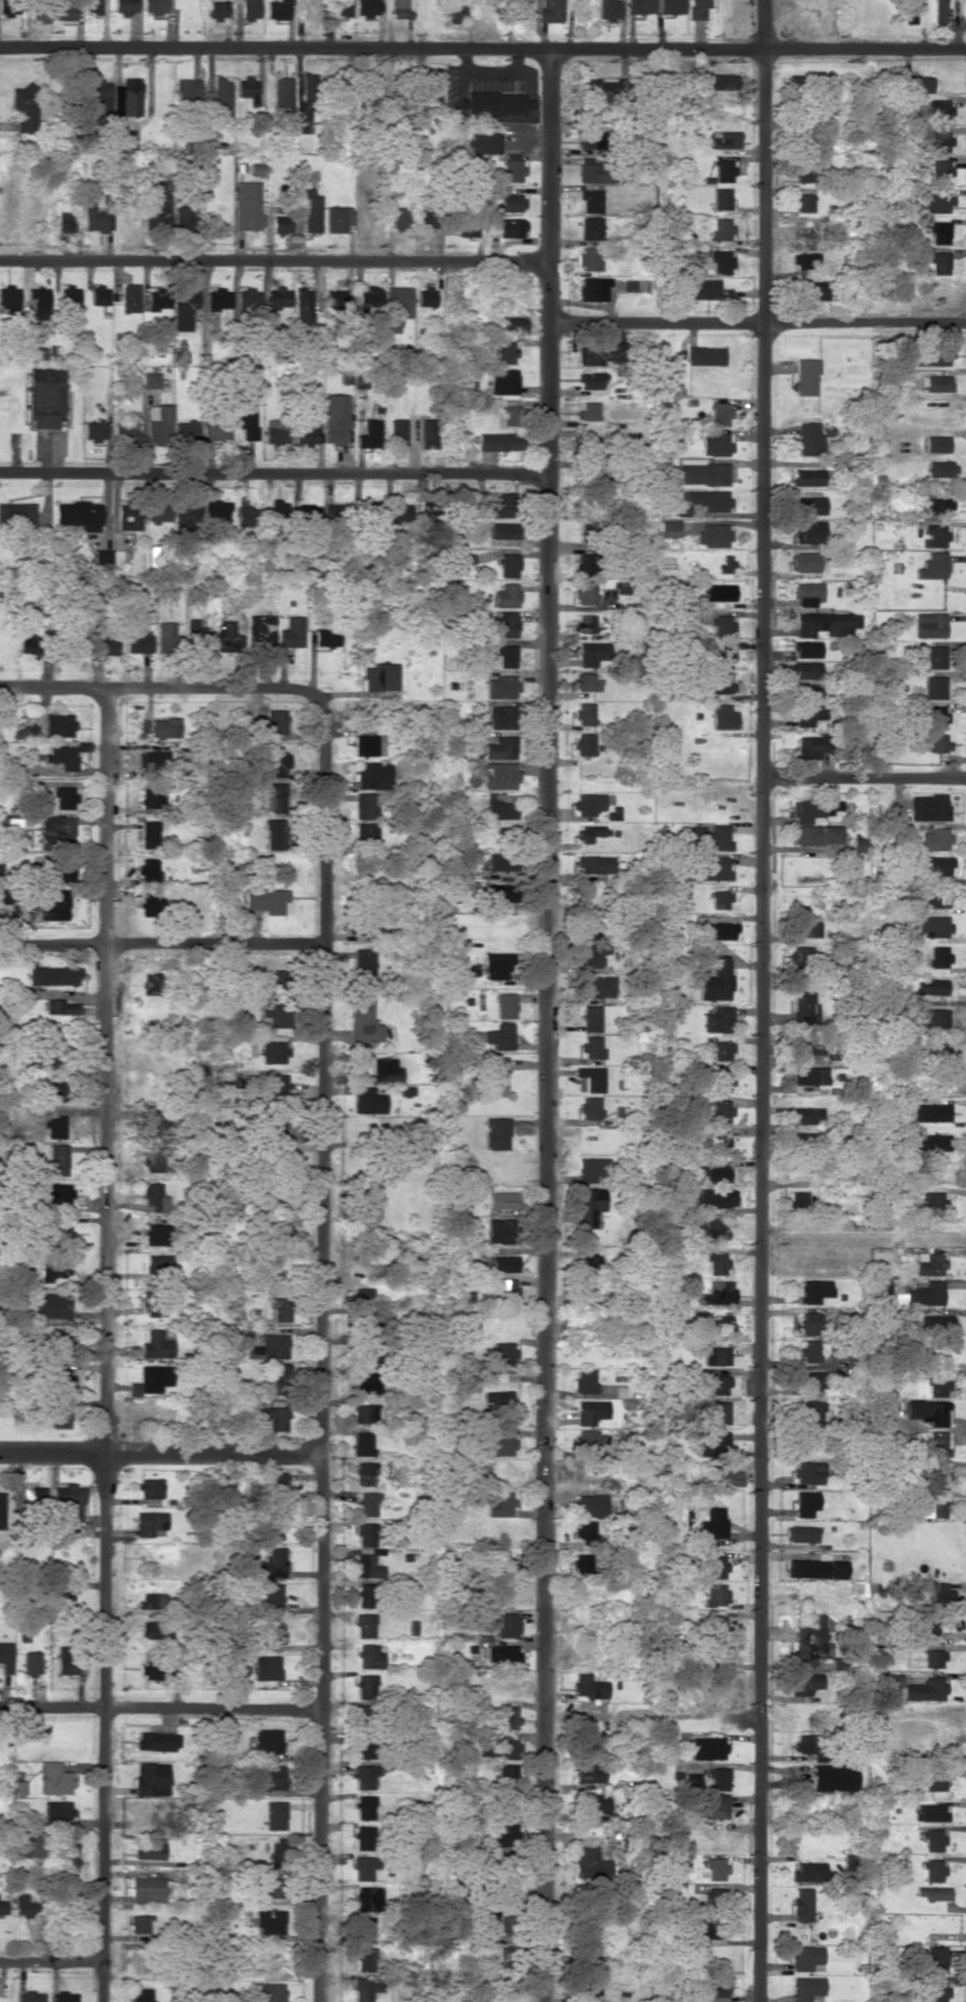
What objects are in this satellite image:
building: (92, 6)
building: (125, 6)
building: (155, 6)
building: (639, 6)
building: (671, 6)
building: (342, 7)
building: (366, 7)
building: (7, 8)
building: (398, 8)
building: (699, 8)
building: (250, 9)
building: (277, 9)
building: (608, 9)
building: (215, 10)
building: (64, 11)
building: (455, 11)
building: (550, 11)
building: (911, 11)
building: (940, 11)
road: (483, 51)
building: (716, 81)
building: (920, 83)
building: (430, 86)
building: (308, 87)
building: (245, 88)
building: (186, 89)
building: (281, 93)
building: (397, 94)
building: (804, 94)
building: (126, 96)
building: (218, 98)
building: (494, 103)
building: (23, 108)
building: (939, 110)
building: (587, 138)
building: (724, 139)
building: (478, 141)
building: (937, 141)
road: (549, 158)
road: (765, 162)
building: (511, 168)
building: (803, 169)
building: (723, 170)
building: (941, 171)
building: (593, 173)
building: (721, 199)
building: (590, 200)
building: (156, 201)
building: (509, 202)
building: (803, 202)
building: (937, 203)
building: (247, 206)
building: (309, 208)
building: (95, 216)
building: (183, 218)
building: (338, 218)
building: (397, 218)
building: (424, 218)
building: (65, 221)
building: (280, 224)
building: (466, 227)
building: (511, 227)
building: (591, 228)
building: (720, 229)
building: (808, 230)
building: (939, 232)
building: (588, 258)
building: (804, 259)
building: (720, 261)
building: (939, 262)
road: (274, 265)
building: (593, 288)
building: (706, 289)
building: (817, 289)
road: (550, 293)
building: (939, 293)
building: (69, 295)
building: (99, 295)
building: (368, 295)
building: (425, 296)
building: (130, 297)
building: (278, 297)
building: (218, 298)
building: (335, 298)
building: (9, 299)
building: (156, 299)
building: (248, 300)
building: (398, 300)
building: (36, 304)
building: (302, 305)
building: (184, 308)
building: (512, 323)
road: (658, 323)
road: (865, 324)
building: (505, 352)
building: (599, 352)
building: (705, 355)
building: (805, 376)
building: (151, 379)
building: (592, 380)
building: (503, 381)
building: (937, 383)
building: (45, 397)
building: (588, 411)
building: (510, 412)
building: (719, 413)
building: (335, 418)
building: (247, 420)
building: (156, 423)
building: (124, 427)
building: (94, 430)
building: (185, 430)
building: (216, 430)
building: (275, 430)
building: (397, 431)
building: (306, 432)
building: (428, 433)
building: (369, 434)
building: (809, 438)
building: (499, 441)
building: (589, 442)
building: (715, 443)
building: (937, 443)
building: (940, 468)
building: (701, 472)
road: (274, 476)
building: (808, 477)
building: (709, 500)
building: (502, 505)
building: (808, 505)
building: (936, 506)
building: (682, 509)
building: (425, 511)
building: (155, 512)
building: (215, 512)
building: (399, 512)
building: (16, 513)
building: (335, 513)
building: (78, 514)
building: (184, 515)
building: (244, 515)
building: (278, 515)
building: (307, 515)
building: (127, 516)
building: (587, 527)
building: (668, 528)
building: (504, 530)
building: (805, 531)
building: (712, 534)
building: (933, 536)
building: (100, 555)
building: (803, 562)
road: (329, 564)
building: (508, 564)
building: (586, 564)
building: (725, 564)
building: (931, 566)
building: (585, 592)
building: (718, 592)
building: (807, 593)
building: (506, 595)
building: (585, 623)
building: (821, 623)
building: (505, 624)
building: (929, 625)
building: (722, 626)
building: (260, 631)
building: (292, 632)
building: (137, 633)
building: (226, 633)
building: (197, 636)
building: (165, 637)
building: (326, 637)
building: (30, 641)
building: (104, 643)
building: (807, 649)
building: (592, 653)
building: (506, 655)
building: (930, 655)
building: (721, 656)
building: (807, 670)
building: (379, 677)
building: (586, 682)
building: (714, 683)
road: (52, 685)
building: (501, 687)
building: (934, 687)
building: (808, 691)
building: (584, 713)
building: (808, 713)
building: (722, 716)
building: (502, 717)
building: (935, 717)
building: (273, 722)
building: (57, 725)
building: (163, 727)
building: (25, 731)
building: (843, 738)
building: (938, 742)
building: (368, 744)
building: (584, 744)
building: (812, 746)
building: (501, 747)
building: (60, 756)
building: (151, 760)
building: (272, 763)
building: (372, 775)
building: (500, 775)
road: (866, 778)
building: (63, 797)
building: (151, 797)
building: (275, 797)
building: (588, 803)
building: (366, 805)
building: (496, 805)
building: (928, 807)
building: (814, 809)
building: (612, 814)
building: (9, 824)
building: (56, 830)
building: (589, 832)
building: (148, 834)
building: (274, 834)
building: (817, 834)
building: (366, 835)
building: (707, 837)
building: (934, 839)
building: (861, 844)
building: (498, 861)
building: (591, 863)
building: (936, 865)
building: (0, 867)
building: (709, 868)
building: (148, 869)
building: (56, 871)
building: (500, 892)
building: (4, 896)
building: (936, 896)
building: (720, 899)
building: (265, 900)
building: (53, 904)
building: (149, 905)
building: (934, 925)
building: (591, 926)
building: (805, 926)
building: (715, 928)
road: (161, 948)
building: (593, 954)
building: (800, 956)
building: (937, 956)
building: (497, 965)
building: (362, 966)
building: (52, 975)
building: (279, 980)
building: (715, 982)
building: (929, 986)
building: (598, 987)
building: (802, 1004)
building: (505, 1005)
building: (59, 1006)
building: (274, 1014)
building: (924, 1017)
building: (591, 1018)
building: (716, 1019)
building: (363, 1020)
building: (500, 1036)
building: (591, 1046)
building: (806, 1046)
building: (721, 1050)
building: (272, 1051)
building: (46, 1052)
building: (938, 1052)
building: (379, 1070)
building: (495, 1075)
building: (809, 1075)
building: (590, 1078)
building: (718, 1080)
building: (272, 1083)
building: (50, 1090)
building: (367, 1100)
building: (590, 1107)
building: (720, 1110)
building: (929, 1112)
building: (806, 1115)
building: (153, 1124)
building: (495, 1133)
building: (717, 1141)
building: (805, 1142)
building: (928, 1142)
building: (152, 1158)
building: (58, 1160)
road: (546, 1161)
road: (763, 1163)
building: (592, 1169)
building: (713, 1172)
building: (55, 1193)
building: (153, 1197)
building: (715, 1197)
building: (502, 1200)
building: (797, 1200)
building: (933, 1202)
building: (590, 1206)
building: (704, 1227)
building: (500, 1230)
building: (155, 1234)
road: (864, 1234)
building: (57, 1235)
road: (323, 1239)
building: (586, 1255)
building: (156, 1261)
building: (716, 1262)
building: (501, 1263)
building: (929, 1263)
building: (52, 1268)
building: (814, 1290)
building: (502, 1291)
building: (716, 1293)
building: (926, 1293)
building: (363, 1295)
building: (49, 1305)
building: (281, 1309)
building: (720, 1323)
building: (809, 1323)
building: (937, 1324)
building: (58, 1341)
road: (107, 1343)
building: (155, 1345)
building: (273, 1345)
building: (504, 1351)
building: (809, 1351)
building: (370, 1353)
building: (717, 1355)
building: (57, 1378)
building: (154, 1378)
building: (814, 1380)
building: (274, 1381)
building: (585, 1381)
building: (365, 1382)
building: (715, 1384)
building: (937, 1385)
building: (498, 1400)
building: (714, 1410)
building: (926, 1410)
building: (592, 1411)
building: (810, 1411)
building: (364, 1413)
building: (59, 1416)
building: (275, 1418)
building: (590, 1441)
building: (363, 1443)
building: (937, 1443)
building: (496, 1444)
building: (714, 1444)
road: (161, 1455)
building: (366, 1467)
building: (808, 1472)
building: (936, 1475)
building: (730, 1477)
building: (277, 1484)
building: (150, 1488)
building: (69, 1501)
building: (805, 1503)
building: (368, 1504)
building: (500, 1504)
building: (591, 1505)
building: (934, 1505)
building: (1, 1511)
building: (149, 1523)
building: (712, 1523)
building: (273, 1525)
building: (584, 1532)
building: (801, 1533)
building: (366, 1534)
building: (581, 1563)
building: (271, 1564)
building: (367, 1564)
building: (503, 1565)
building: (712, 1566)
building: (817, 1567)
building: (715, 1594)
building: (938, 1594)
building: (272, 1595)
building: (365, 1595)
building: (154, 1610)
building: (593, 1611)
building: (713, 1623)
building: (365, 1625)
building: (928, 1626)
building: (269, 1631)
building: (810, 1642)
building: (369, 1655)
building: (504, 1655)
building: (5, 1657)
building: (933, 1657)
building: (66, 1659)
building: (30, 1663)
building: (266, 1667)
building: (149, 1669)
building: (890, 1680)
building: (804, 1683)
building: (365, 1685)
building: (587, 1686)
building: (924, 1689)
road: (162, 1708)
building: (362, 1710)
building: (507, 1716)
road: (927, 1716)
building: (267, 1740)
building: (157, 1741)
building: (802, 1743)
building: (365, 1746)
building: (504, 1748)
building: (590, 1748)
building: (707, 1748)
building: (505, 1773)
building: (588, 1773)
building: (364, 1776)
building: (272, 1777)
building: (833, 1777)
building: (55, 1778)
building: (151, 1779)
building: (718, 1779)
building: (933, 1781)
building: (507, 1804)
building: (594, 1804)
building: (715, 1805)
building: (365, 1807)
building: (58, 1809)
building: (931, 1812)
building: (275, 1815)
building: (504, 1834)
building: (363, 1837)
building: (932, 1840)
building: (23, 1846)
building: (149, 1849)
building: (277, 1852)
building: (71, 1856)
building: (591, 1861)
building: (506, 1862)
building: (364, 1868)
building: (715, 1868)
building: (932, 1870)
building: (808, 1871)
building: (275, 1885)
building: (147, 1890)
building: (931, 1893)
building: (367, 1898)
building: (714, 1901)
building: (802, 1904)
building: (25, 1906)
building: (2, 1907)
building: (269, 1921)
building: (141, 1923)
building: (503, 1923)
building: (364, 1928)
building: (710, 1928)
building: (587, 1942)
building: (504, 1955)
building: (806, 1958)
building: (366, 1959)
building: (932, 1960)
road: (52, 1961)
building: (591, 1985)
building: (365, 1988)
building: (806, 1988)
building: (933, 1990)
building: (712, 1991)
building: (142, 1995)
building: (31, 1996)
building: (64, 1996)

